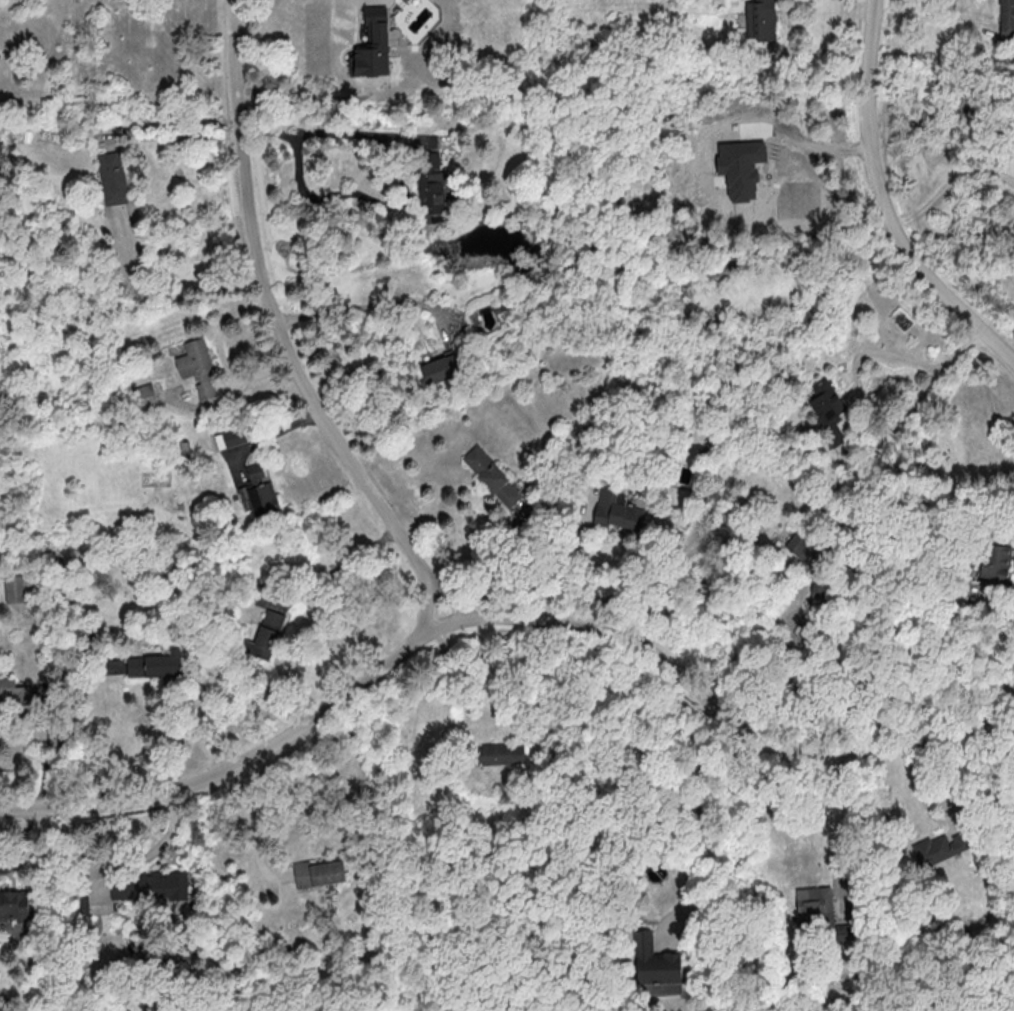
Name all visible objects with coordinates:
building: (760, 19)
building: (1006, 19)
road: (934, 25)
building: (393, 40)
building: (373, 43)
road: (181, 134)
road: (819, 145)
building: (739, 167)
building: (112, 177)
road: (948, 182)
building: (430, 184)
road: (374, 198)
road: (883, 202)
road: (271, 305)
road: (369, 305)
building: (196, 365)
building: (439, 368)
building: (144, 396)
building: (829, 414)
road: (877, 433)
building: (232, 435)
building: (495, 480)
building: (259, 489)
building: (617, 510)
building: (802, 547)
road: (567, 563)
building: (994, 563)
road: (505, 564)
road: (343, 568)
building: (14, 587)
road: (450, 595)
road: (427, 604)
road: (509, 616)
building: (265, 635)
road: (749, 643)
building: (154, 664)
road: (444, 687)
building: (13, 690)
road: (61, 722)
road: (51, 752)
road: (698, 809)
road: (833, 812)
road: (250, 820)
building: (939, 847)
road: (731, 862)
building: (318, 872)
building: (162, 885)
building: (122, 889)
building: (814, 904)
building: (13, 905)
building: (655, 967)

